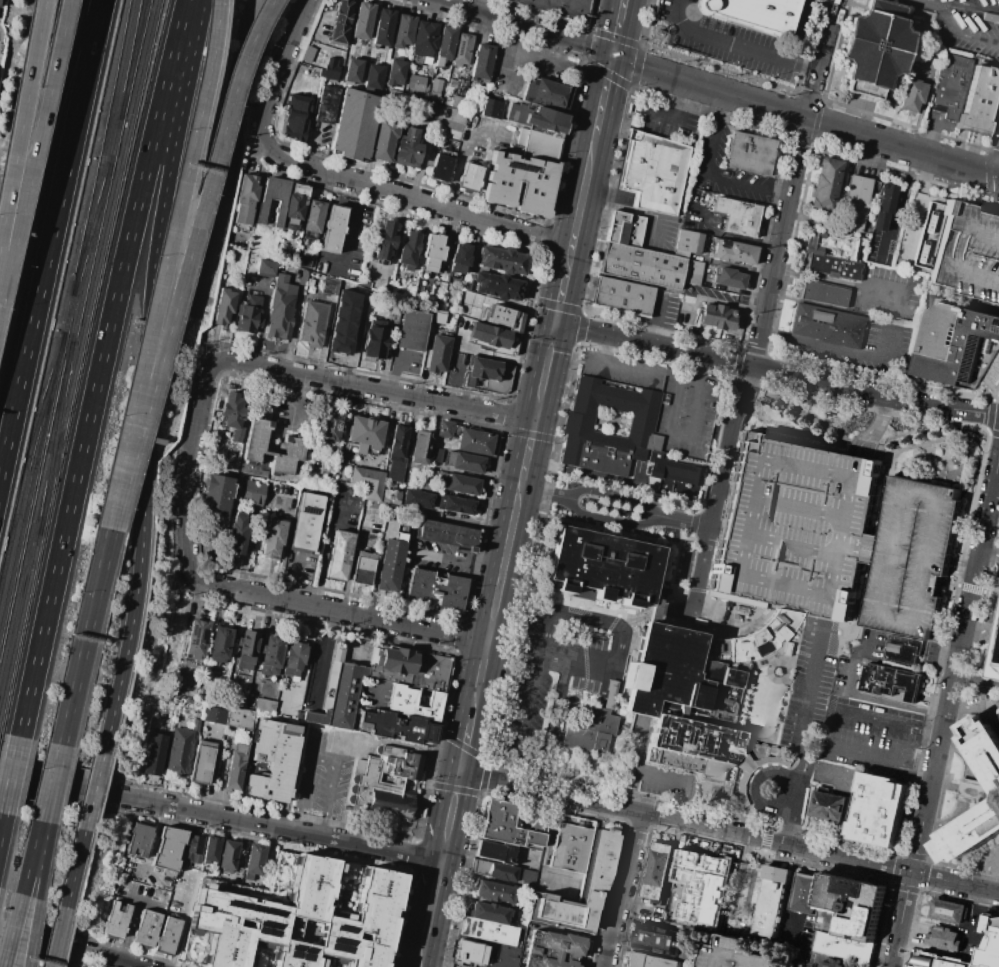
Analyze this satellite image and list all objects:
road: (473, 5)
building: (558, 6)
road: (968, 6)
building: (758, 13)
building: (362, 20)
building: (338, 21)
parking lot: (964, 25)
building: (384, 27)
road: (524, 27)
road: (618, 28)
building: (404, 31)
road: (953, 33)
building: (426, 42)
parking lot: (723, 42)
building: (447, 45)
road: (733, 47)
building: (464, 49)
road: (520, 50)
road: (560, 50)
building: (873, 52)
building: (307, 53)
road: (269, 55)
road: (211, 56)
traffic signals: (612, 57)
railway: (131, 61)
railway: (133, 61)
building: (483, 63)
building: (329, 66)
building: (353, 70)
building: (396, 72)
building: (374, 75)
road: (634, 80)
building: (415, 83)
building: (434, 87)
building: (949, 87)
road: (239, 88)
building: (548, 94)
road: (603, 95)
building: (911, 95)
building: (456, 101)
road: (683, 101)
building: (978, 103)
building: (324, 105)
road: (19, 109)
building: (492, 109)
road: (665, 115)
road: (436, 116)
building: (295, 117)
building: (537, 119)
parking lot: (667, 119)
road: (804, 120)
building: (354, 125)
road: (42, 138)
building: (383, 140)
road: (315, 143)
building: (539, 144)
road: (30, 146)
building: (408, 150)
road: (459, 150)
building: (748, 153)
road: (421, 156)
building: (440, 166)
parking lot: (726, 169)
building: (653, 172)
road: (997, 172)
building: (470, 176)
road: (344, 177)
road: (708, 177)
road: (797, 182)
building: (522, 183)
building: (826, 183)
building: (245, 199)
building: (297, 201)
building: (856, 201)
road: (581, 203)
building: (884, 209)
road: (633, 210)
building: (261, 211)
building: (314, 217)
building: (737, 217)
road: (352, 219)
railway: (96, 228)
building: (333, 229)
railway: (91, 230)
building: (625, 230)
parking lot: (660, 232)
road: (50, 235)
road: (725, 235)
building: (382, 238)
building: (410, 250)
road: (187, 252)
building: (734, 252)
building: (967, 252)
parking lot: (967, 252)
building: (432, 254)
building: (688, 255)
building: (832, 255)
building: (457, 257)
road: (329, 260)
building: (503, 260)
building: (303, 262)
building: (642, 265)
railway: (97, 266)
building: (265, 268)
building: (304, 277)
building: (723, 278)
building: (310, 282)
road: (845, 282)
building: (330, 286)
building: (498, 288)
parking lot: (889, 292)
building: (825, 294)
building: (622, 295)
road: (560, 297)
road: (718, 299)
building: (224, 304)
building: (281, 306)
building: (463, 309)
road: (575, 309)
road: (156, 310)
road: (262, 312)
building: (248, 313)
railway: (68, 315)
building: (439, 316)
building: (716, 316)
building: (504, 318)
road: (655, 318)
building: (343, 322)
traffic signals: (556, 323)
building: (314, 324)
building: (829, 325)
road: (737, 328)
building: (490, 336)
building: (954, 338)
building: (412, 339)
building: (374, 341)
parking lot: (868, 348)
road: (603, 349)
road: (842, 350)
building: (438, 352)
building: (459, 358)
road: (696, 366)
road: (99, 367)
parking lot: (623, 368)
road: (777, 368)
road: (391, 369)
road: (620, 369)
road: (545, 371)
building: (490, 374)
road: (150, 378)
road: (452, 378)
road: (381, 390)
road: (289, 400)
parking lot: (689, 412)
building: (234, 415)
building: (642, 422)
road: (877, 424)
building: (331, 428)
building: (443, 428)
building: (364, 432)
railway: (56, 434)
road: (530, 434)
road: (673, 438)
building: (475, 441)
building: (293, 445)
road: (864, 446)
building: (419, 447)
road: (528, 449)
building: (397, 452)
railway: (28, 456)
building: (435, 456)
building: (463, 462)
building: (366, 481)
building: (461, 484)
road: (719, 486)
building: (252, 489)
road: (993, 489)
road: (614, 493)
road: (544, 494)
road: (886, 494)
building: (216, 495)
building: (389, 495)
building: (417, 498)
railway: (36, 503)
building: (456, 504)
road: (111, 519)
road: (610, 519)
building: (380, 520)
road: (683, 520)
building: (306, 522)
building: (235, 534)
building: (450, 534)
building: (271, 536)
building: (834, 536)
parking lot: (834, 536)
road: (284, 539)
road: (325, 547)
road: (875, 549)
road: (987, 551)
road: (506, 553)
building: (339, 555)
road: (455, 561)
road: (349, 564)
building: (388, 564)
road: (962, 566)
building: (362, 568)
building: (605, 568)
road: (294, 578)
building: (435, 589)
road: (227, 590)
road: (675, 608)
road: (776, 609)
road: (655, 611)
building: (659, 612)
road: (859, 613)
road: (638, 622)
railway: (20, 625)
road: (991, 627)
road: (519, 631)
road: (625, 631)
road: (489, 633)
road: (84, 637)
building: (196, 641)
building: (220, 645)
building: (904, 647)
road: (544, 649)
building: (248, 651)
road: (955, 652)
road: (513, 654)
building: (270, 656)
road: (322, 658)
building: (392, 659)
building: (293, 660)
building: (988, 660)
road: (552, 663)
building: (997, 668)
building: (431, 672)
parking lot: (561, 675)
building: (889, 680)
road: (479, 681)
road: (975, 681)
building: (337, 692)
road: (860, 694)
building: (697, 696)
building: (166, 699)
building: (188, 701)
building: (412, 702)
building: (264, 705)
road: (813, 705)
parking lot: (641, 707)
building: (215, 714)
parking lot: (808, 714)
building: (239, 718)
building: (195, 724)
building: (396, 727)
road: (829, 728)
building: (586, 730)
parking lot: (874, 733)
road: (536, 741)
building: (986, 742)
road: (324, 748)
road: (465, 748)
road: (899, 751)
building: (179, 753)
building: (154, 754)
building: (272, 760)
building: (202, 763)
building: (237, 767)
parking lot: (324, 772)
road: (642, 773)
road: (10, 774)
traffic signals: (460, 774)
road: (774, 776)
road: (485, 777)
building: (390, 782)
road: (49, 783)
road: (55, 784)
road: (969, 790)
road: (94, 794)
building: (829, 807)
building: (880, 808)
road: (1, 817)
road: (220, 817)
road: (450, 818)
road: (685, 822)
building: (508, 825)
building: (974, 835)
road: (152, 838)
building: (139, 840)
building: (193, 849)
building: (169, 851)
building: (210, 851)
building: (494, 851)
building: (227, 855)
road: (543, 856)
road: (30, 857)
road: (43, 860)
building: (254, 860)
road: (75, 870)
building: (659, 870)
road: (989, 870)
road: (142, 871)
building: (494, 871)
road: (954, 880)
building: (594, 883)
road: (735, 884)
building: (701, 886)
road: (751, 886)
road: (624, 890)
road: (789, 891)
building: (805, 892)
road: (433, 896)
road: (136, 898)
building: (493, 900)
building: (772, 902)
building: (849, 906)
building: (948, 912)
building: (117, 917)
building: (293, 917)
road: (901, 918)
building: (147, 928)
road: (11, 930)
road: (127, 931)
building: (489, 932)
road: (31, 933)
building: (657, 935)
building: (168, 936)
road: (58, 937)
building: (945, 937)
building: (990, 943)
building: (845, 945)
road: (65, 947)
road: (422, 949)
building: (552, 950)
building: (735, 954)
parking lot: (735, 954)
building: (484, 955)
building: (651, 960)
building: (942, 960)
building: (829, 961)
road: (119, 965)
parking lot: (453, 966)

